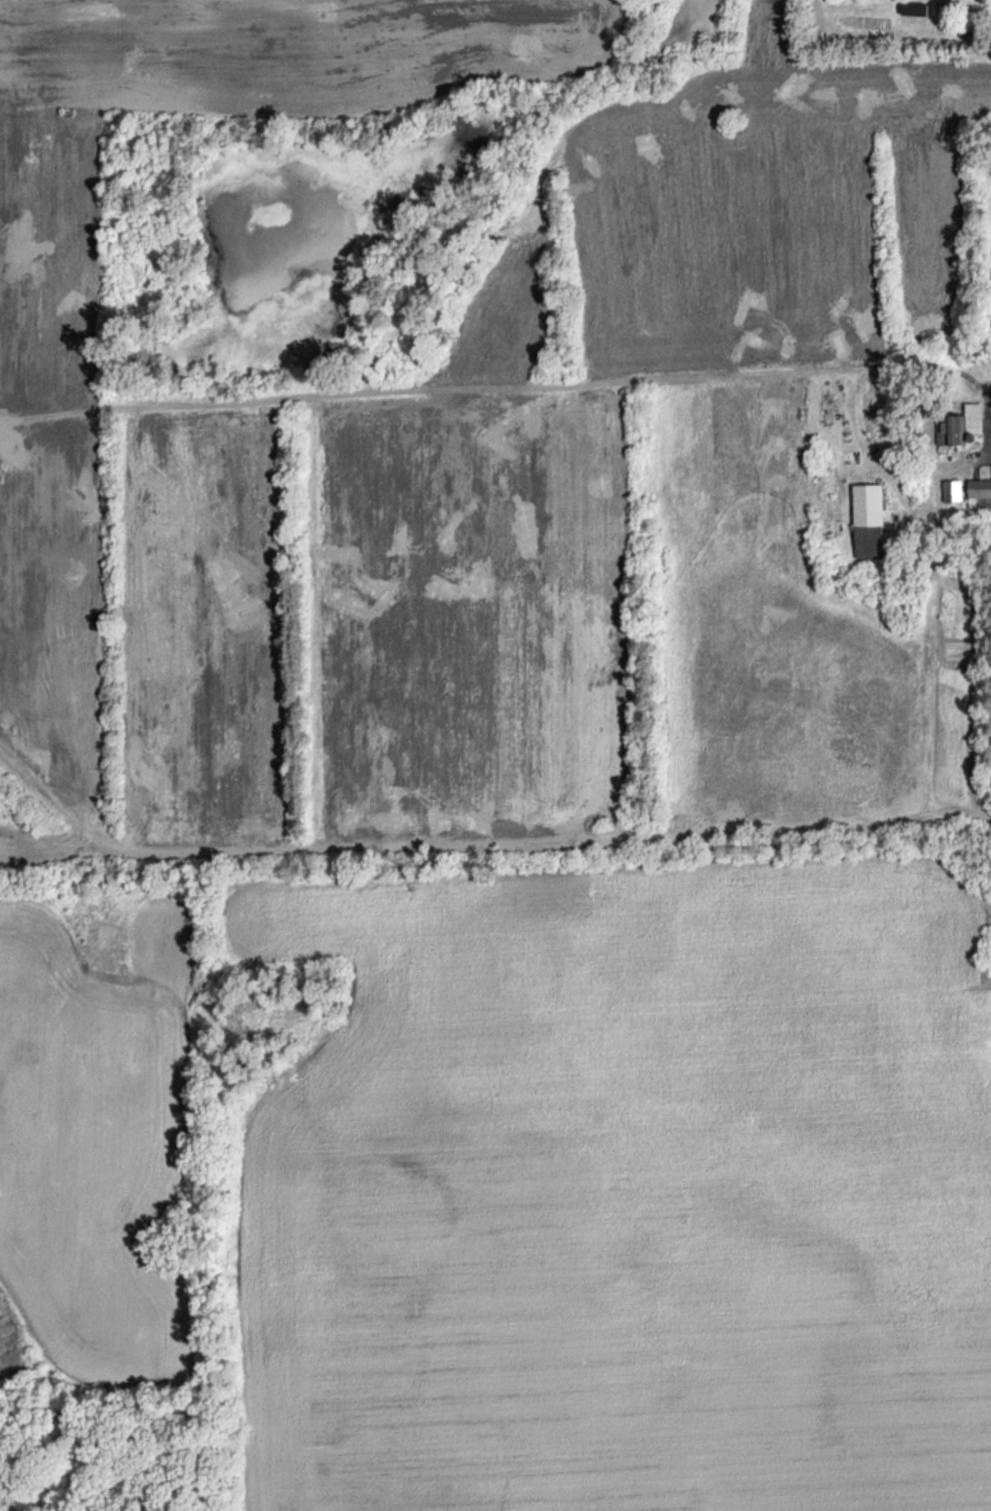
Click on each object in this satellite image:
building: (945, 5)
building: (915, 8)
building: (963, 425)
building: (953, 489)
building: (980, 492)
building: (869, 520)

